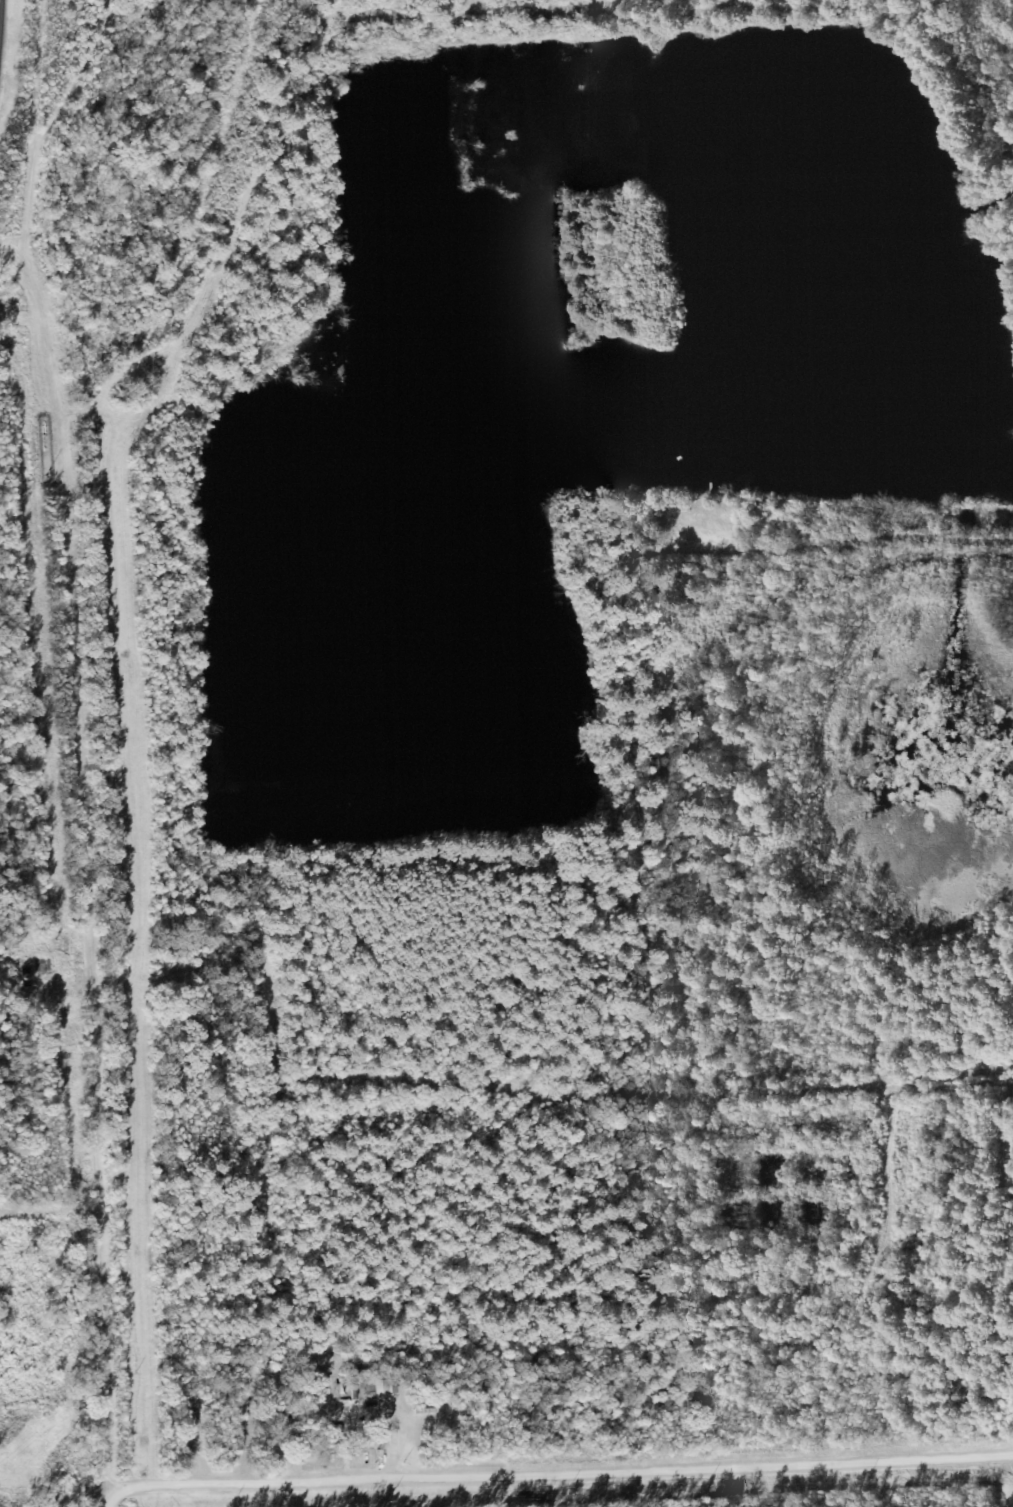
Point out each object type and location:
road: (629, 815)
road: (87, 869)
road: (564, 1351)
road: (562, 1472)
road: (221, 1496)

